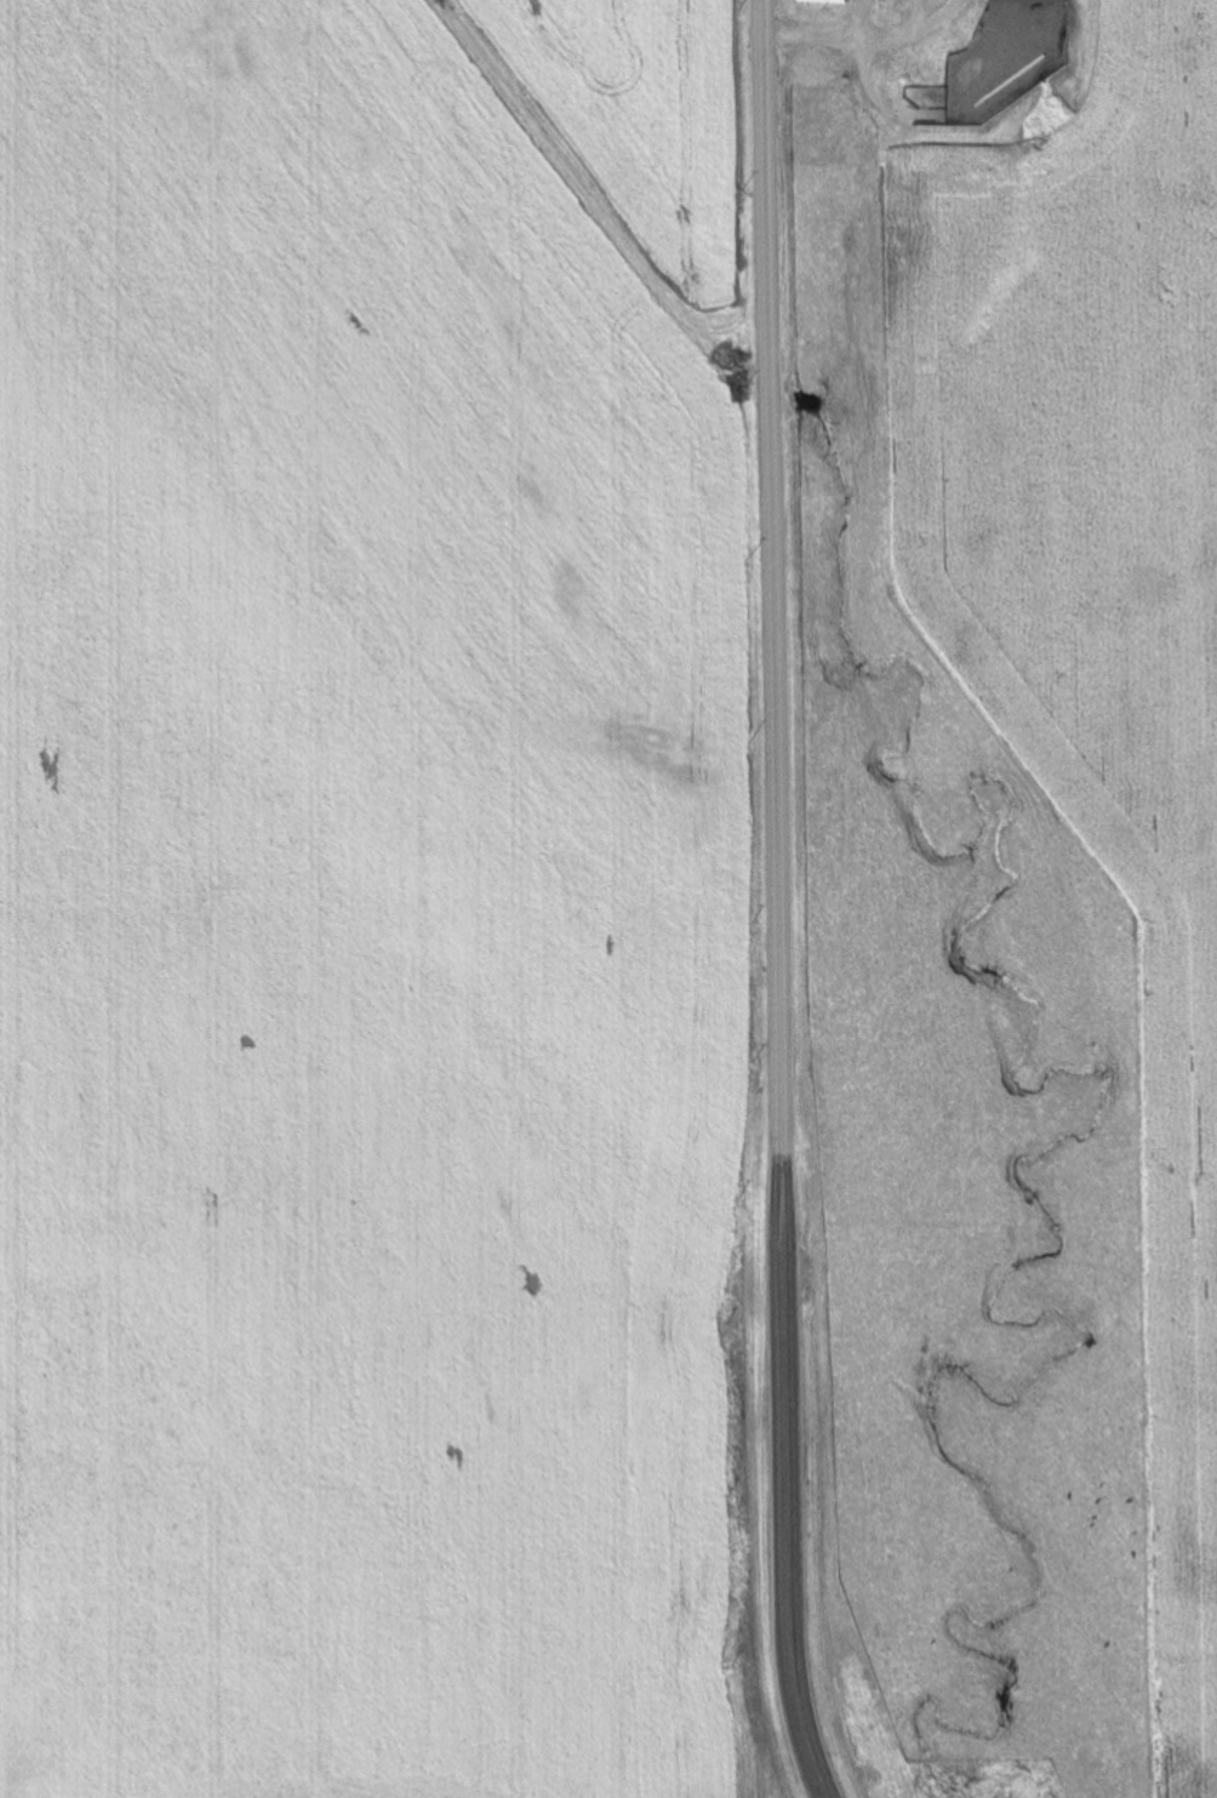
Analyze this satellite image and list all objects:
building: (825, 1)
building: (1030, 1)
road: (920, 11)
road: (867, 44)
road: (862, 55)
building: (807, 63)
building: (921, 70)
building: (836, 115)
building: (818, 144)
road: (778, 901)

